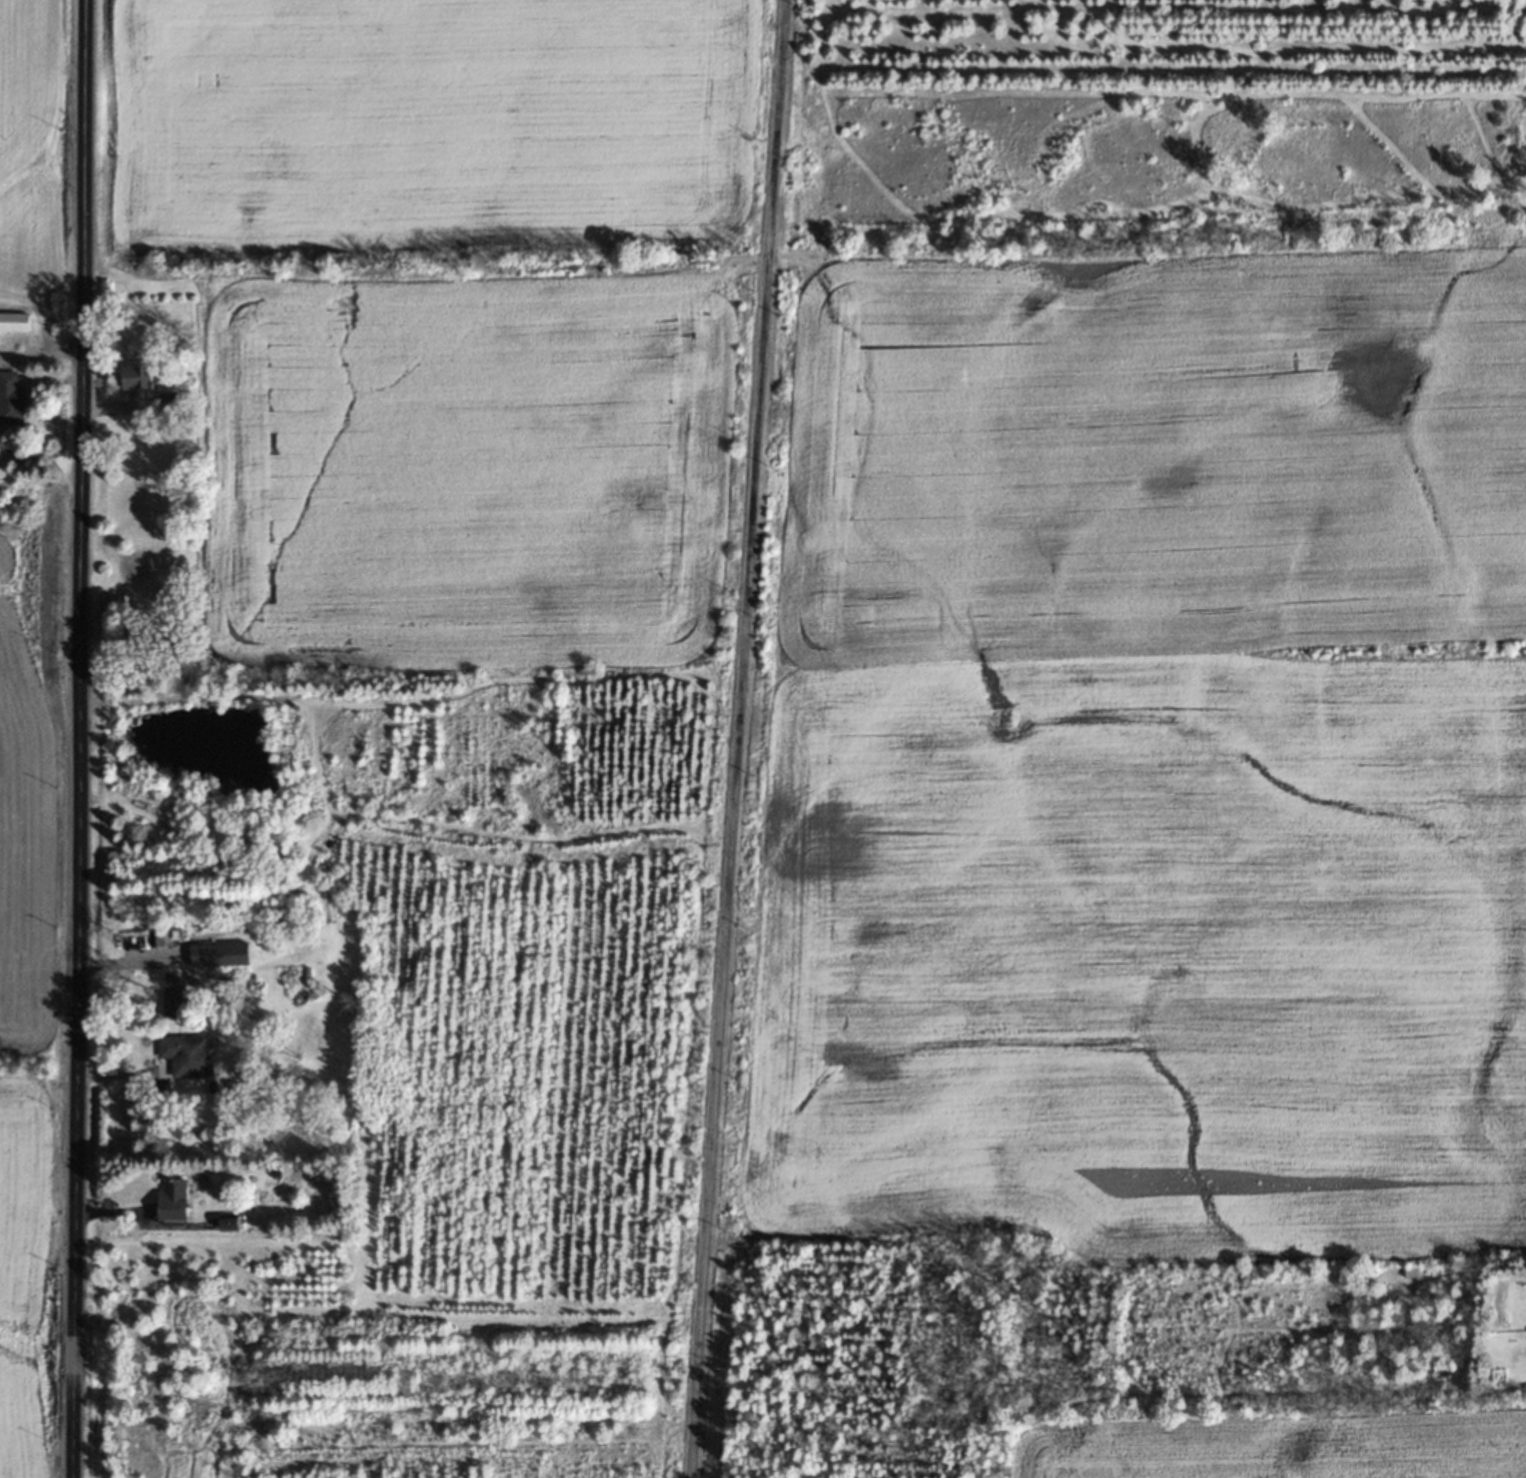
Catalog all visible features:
building: (13, 321)
building: (135, 378)
building: (10, 399)
building: (166, 403)
road: (76, 739)
road: (735, 739)
crop: (1147, 751)
building: (159, 938)
building: (213, 955)
building: (184, 1055)
building: (172, 1199)
crop: (1268, 1443)

